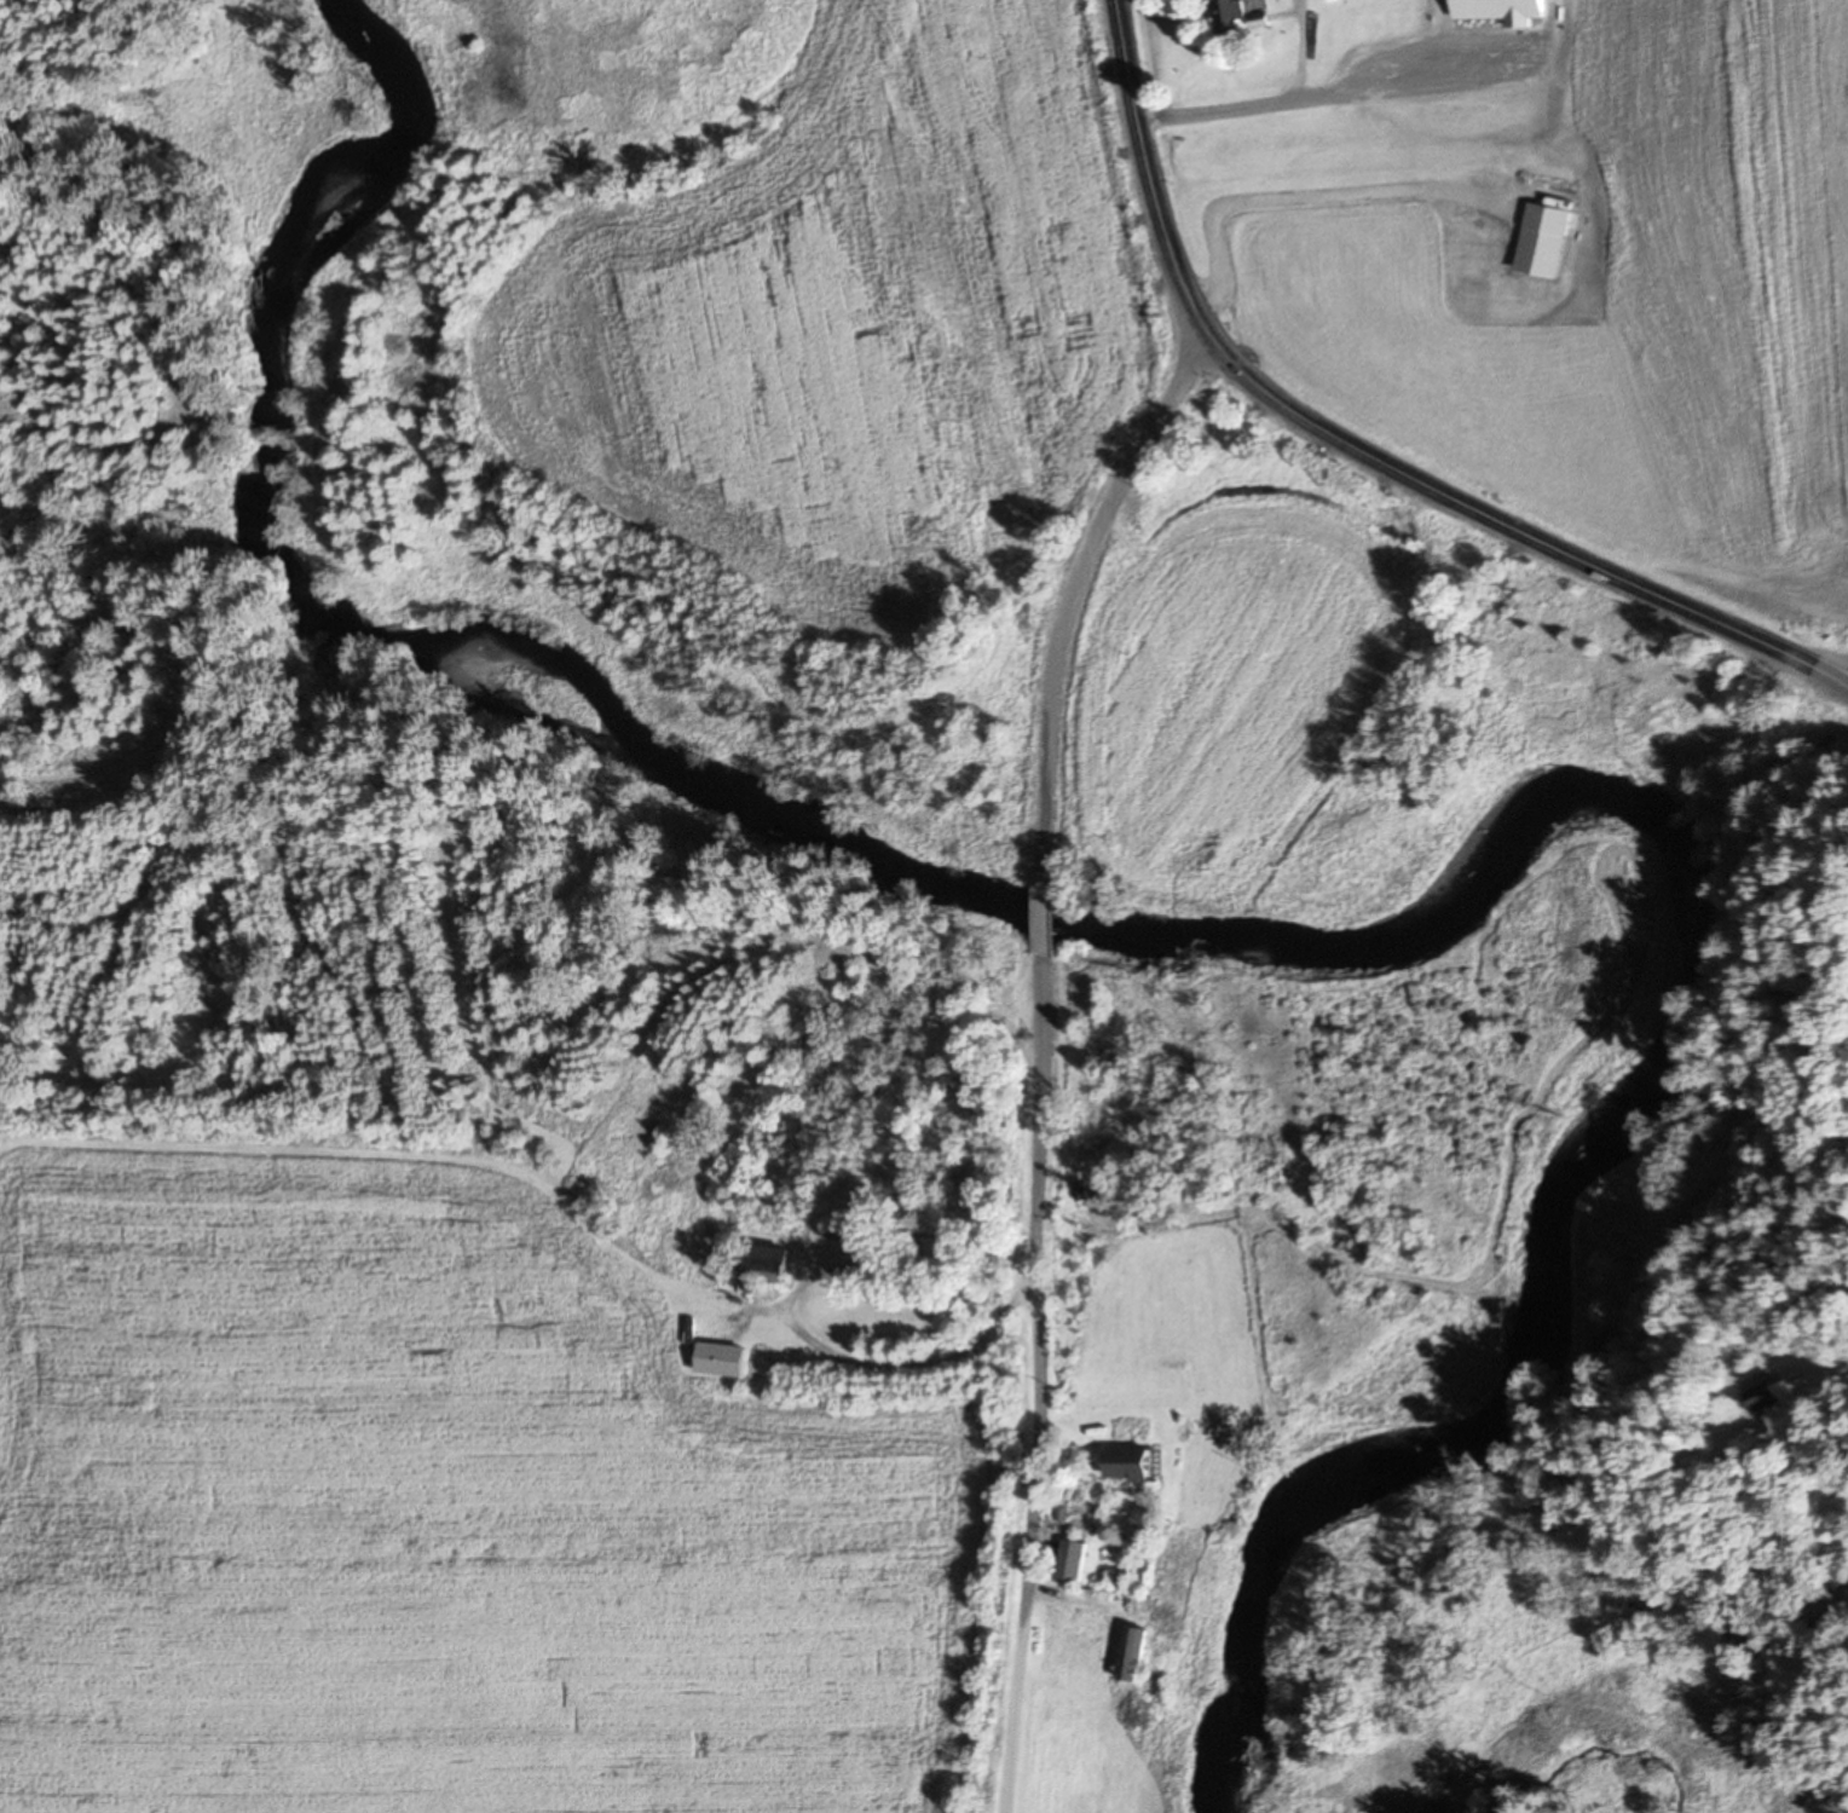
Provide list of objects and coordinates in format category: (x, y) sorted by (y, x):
building: (1502, 11)
building: (1232, 18)
road: (1301, 47)
road: (1340, 87)
road: (1357, 448)
road: (1075, 589)
road: (1843, 686)
road: (1046, 916)
river: (1237, 942)
building: (901, 1176)
building: (940, 1249)
building: (767, 1263)
road: (928, 1355)
building: (723, 1359)
road: (1041, 1384)
building: (1767, 1393)
building: (1130, 1465)
building: (1073, 1561)
building: (1072, 1621)
building: (1134, 1653)

